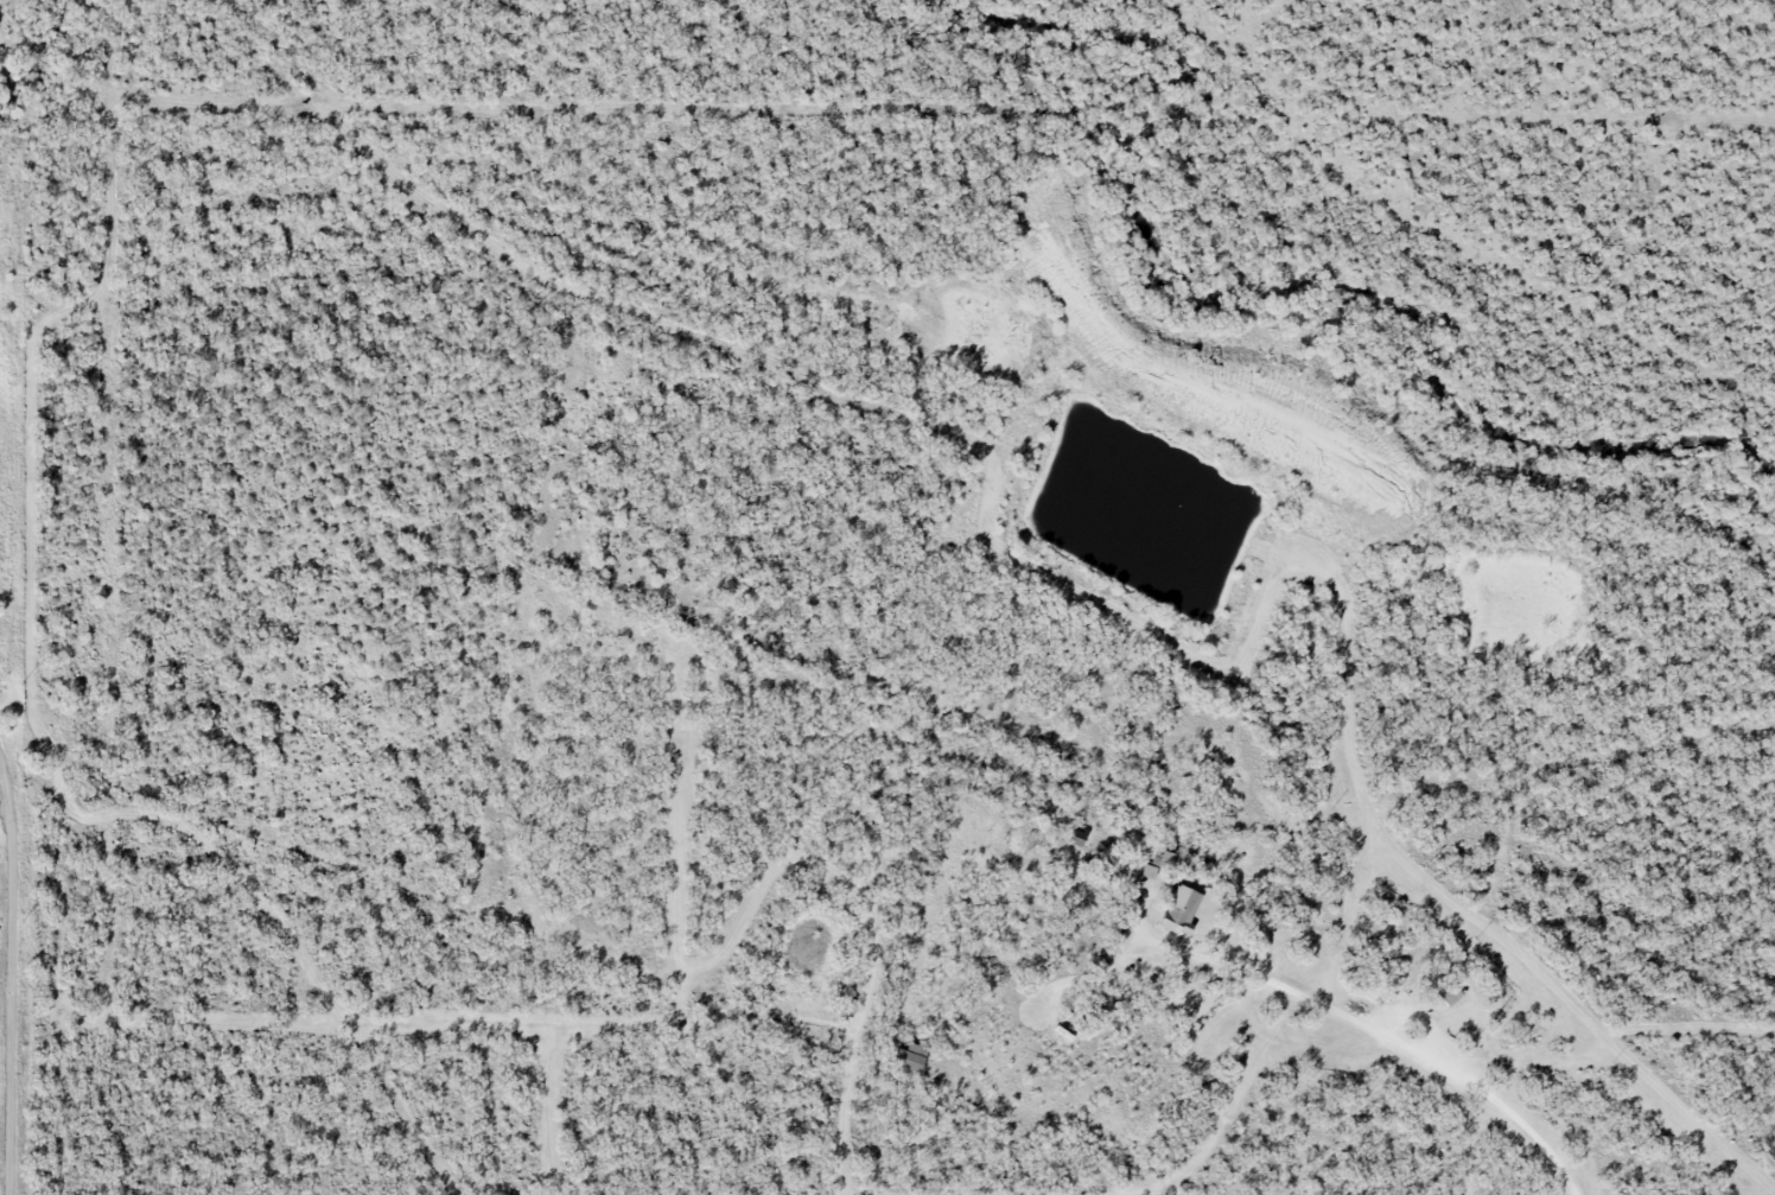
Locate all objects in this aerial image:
building: (1181, 910)
road: (13, 967)
road: (1382, 1034)

